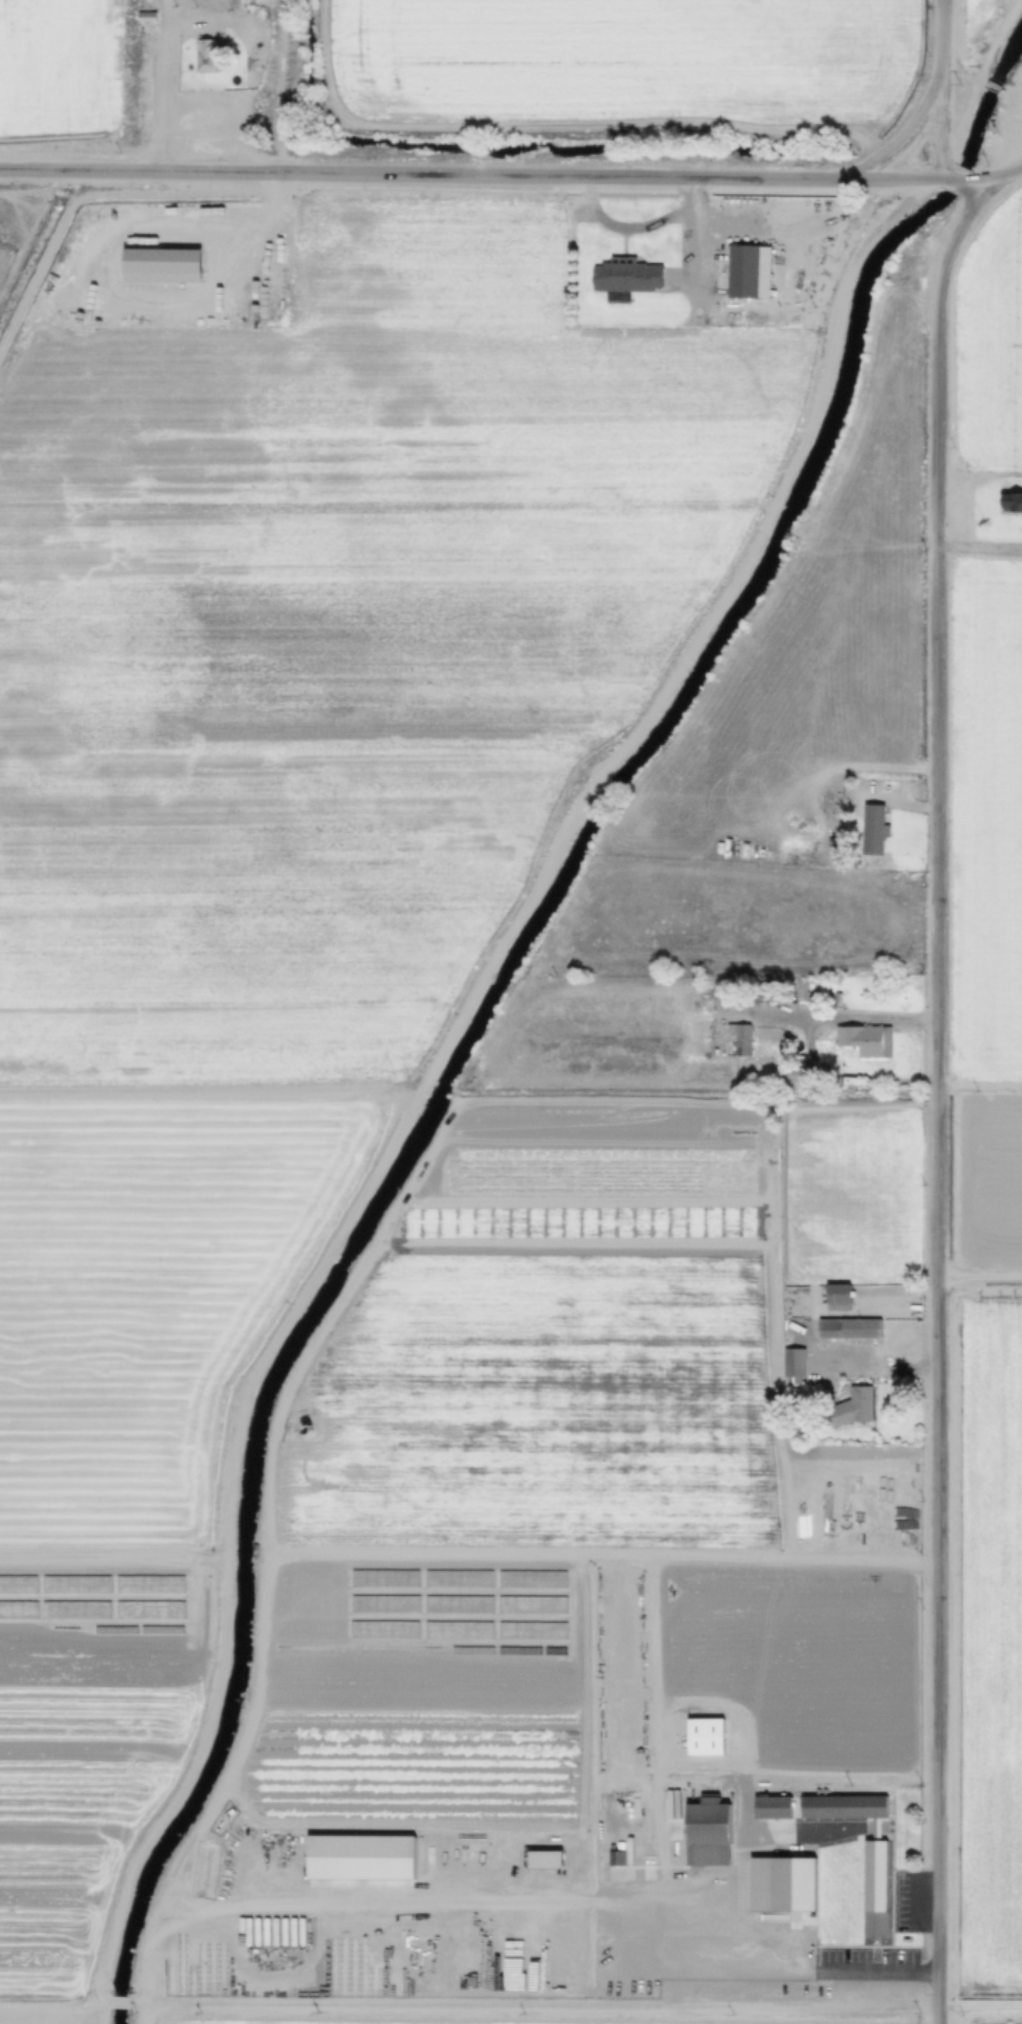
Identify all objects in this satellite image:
road: (217, 15)
building: (145, 17)
road: (979, 47)
building: (205, 55)
road: (945, 91)
road: (1002, 179)
road: (473, 180)
road: (964, 183)
road: (195, 228)
road: (641, 229)
building: (748, 269)
building: (626, 274)
building: (1011, 501)
road: (981, 553)
building: (873, 828)
road: (850, 1026)
building: (737, 1038)
building: (865, 1039)
road: (433, 1065)
building: (795, 1077)
road: (940, 1100)
road: (979, 1276)
road: (770, 1287)
building: (838, 1296)
building: (848, 1328)
building: (793, 1365)
building: (851, 1408)
road: (854, 1458)
building: (772, 1807)
building: (708, 1832)
building: (875, 1877)
building: (782, 1885)
road: (541, 2007)
road: (130, 2010)
road: (49, 2011)
road: (108, 2011)
road: (97, 2017)

